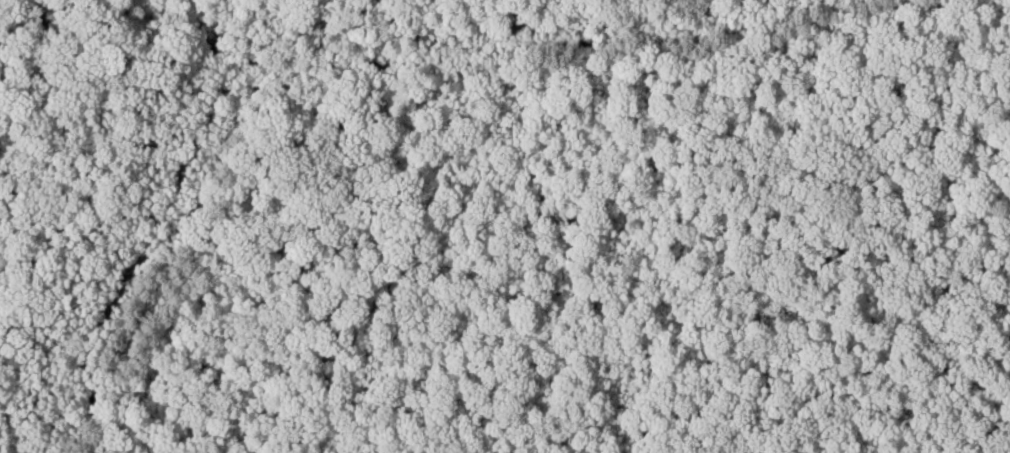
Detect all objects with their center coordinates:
road: (295, 56)

